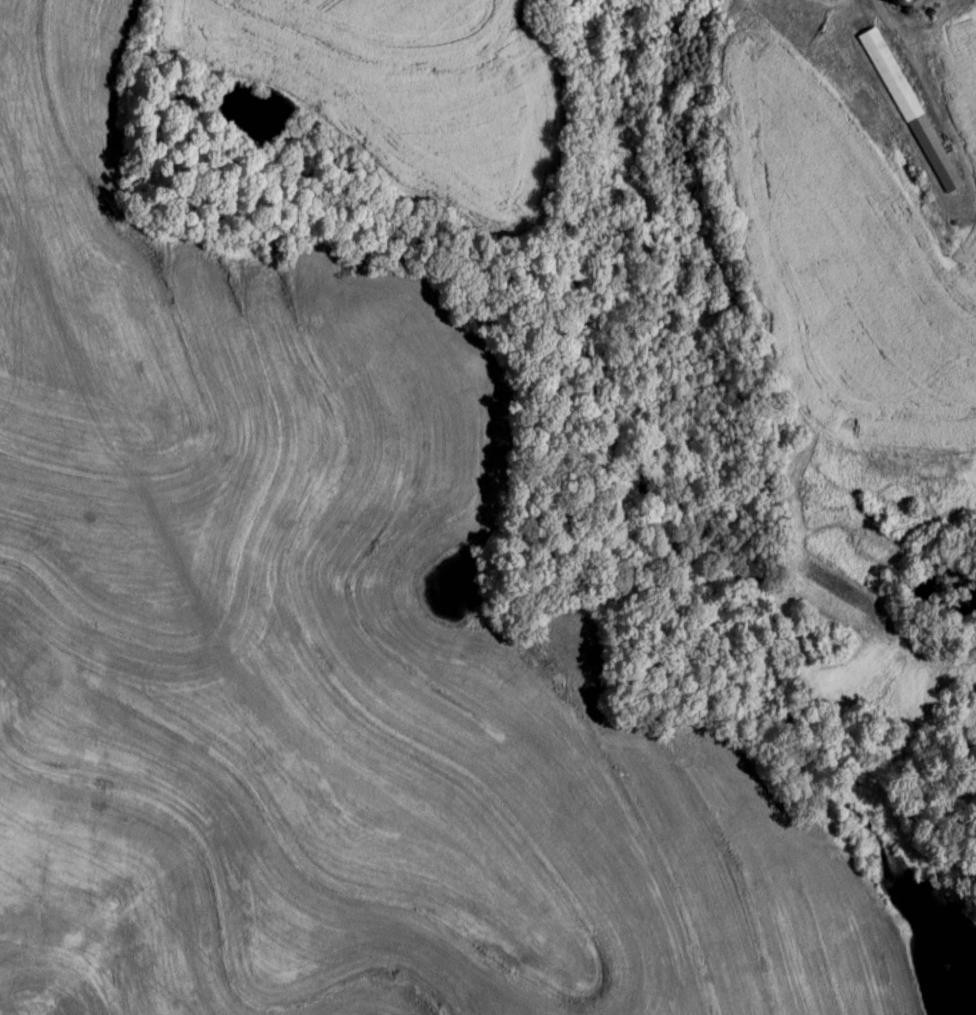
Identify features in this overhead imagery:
building: (911, 111)
building: (751, 579)

